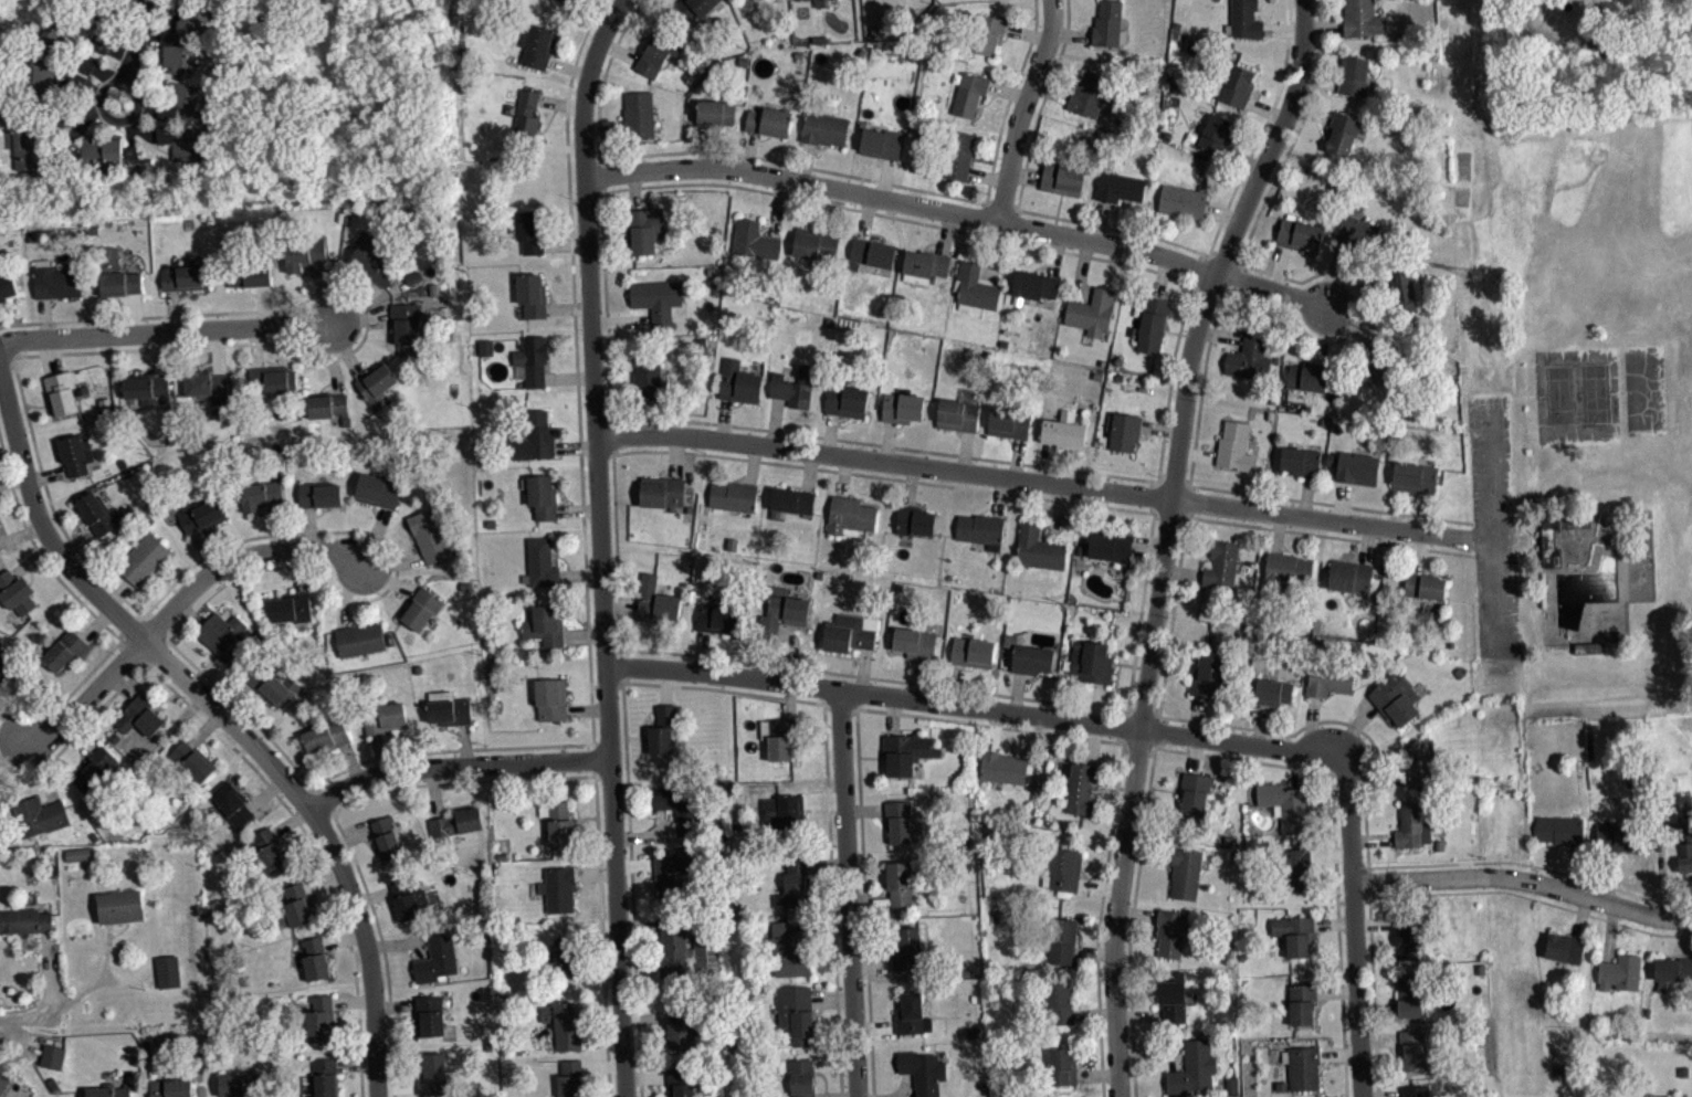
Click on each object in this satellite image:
building: (875, 0)
building: (760, 1)
building: (822, 1)
building: (568, 2)
building: (692, 9)
building: (1362, 19)
building: (1243, 20)
building: (1108, 24)
building: (196, 27)
building: (989, 33)
building: (537, 45)
road: (132, 49)
building: (658, 51)
building: (180, 62)
building: (49, 76)
building: (1354, 76)
building: (1234, 85)
building: (1095, 93)
building: (968, 94)
building: (186, 101)
road: (1022, 110)
building: (638, 114)
building: (715, 114)
building: (526, 117)
building: (768, 122)
building: (823, 128)
building: (1342, 133)
building: (1216, 134)
building: (881, 143)
building: (188, 144)
building: (958, 154)
building: (102, 157)
building: (1062, 178)
building: (1120, 187)
building: (1183, 201)
road: (959, 214)
building: (644, 228)
building: (1357, 231)
building: (528, 232)
building: (1299, 234)
building: (754, 240)
building: (815, 245)
building: (303, 253)
building: (870, 253)
building: (925, 263)
building: (375, 264)
building: (116, 274)
building: (187, 275)
building: (249, 275)
power tower: (1475, 277)
building: (55, 281)
building: (7, 284)
building: (1034, 285)
building: (974, 287)
building: (1405, 291)
building: (533, 294)
building: (656, 302)
building: (1091, 312)
building: (403, 321)
building: (1152, 325)
road: (165, 329)
building: (488, 354)
building: (1248, 357)
building: (533, 359)
building: (1379, 365)
building: (1307, 376)
building: (647, 377)
building: (274, 379)
building: (738, 382)
building: (207, 386)
building: (377, 386)
building: (146, 387)
building: (794, 387)
park: (1595, 391)
building: (61, 392)
park: (1558, 393)
building: (845, 400)
building: (327, 405)
building: (902, 408)
building: (957, 414)
building: (1009, 421)
building: (1064, 431)
building: (1123, 431)
building: (534, 436)
building: (1233, 446)
building: (77, 454)
building: (1300, 461)
building: (1354, 467)
building: (1415, 477)
road: (1043, 482)
building: (378, 491)
building: (661, 492)
building: (260, 493)
building: (319, 494)
building: (733, 495)
building: (542, 496)
building: (791, 500)
building: (101, 514)
building: (200, 515)
building: (850, 516)
road: (1493, 520)
building: (914, 521)
parking lot: (1494, 523)
building: (980, 529)
building: (430, 534)
road: (1165, 538)
building: (1549, 541)
road: (599, 544)
building: (1110, 546)
building: (1038, 548)
building: (0, 557)
building: (143, 559)
building: (542, 560)
building: (1221, 562)
building: (1283, 572)
building: (1349, 576)
building: (1425, 586)
building: (15, 592)
building: (656, 600)
building: (291, 604)
road: (170, 605)
building: (421, 606)
building: (782, 610)
building: (716, 619)
building: (544, 623)
building: (851, 632)
building: (224, 634)
building: (359, 637)
building: (914, 643)
building: (1588, 647)
building: (64, 648)
building: (973, 652)
building: (1031, 660)
building: (1091, 662)
building: (6, 665)
building: (1208, 676)
building: (1327, 678)
building: (273, 682)
building: (1273, 690)
building: (549, 697)
building: (1395, 697)
building: (448, 707)
road: (977, 707)
building: (139, 715)
building: (383, 716)
road: (225, 724)
building: (662, 726)
building: (326, 734)
building: (778, 735)
building: (905, 750)
building: (191, 759)
building: (1420, 761)
road: (453, 762)
building: (94, 767)
building: (1002, 767)
building: (1080, 785)
power tower: (1502, 787)
building: (1194, 790)
building: (0, 794)
building: (233, 803)
building: (1286, 804)
building: (677, 805)
building: (0, 806)
building: (784, 811)
building: (39, 814)
building: (898, 820)
building: (456, 821)
building: (558, 822)
building: (1411, 824)
building: (1560, 827)
building: (1618, 834)
building: (387, 838)
building: (1685, 841)
building: (266, 851)
building: (80, 852)
building: (81, 861)
building: (1293, 866)
building: (1063, 868)
building: (1185, 872)
building: (672, 873)
road: (1524, 879)
building: (900, 882)
building: (794, 883)
building: (558, 887)
road: (845, 893)
building: (408, 897)
building: (120, 904)
building: (295, 905)
building: (24, 918)
road: (1355, 929)
building: (1171, 931)
building: (1294, 932)
building: (1409, 935)
building: (1063, 939)
building: (905, 946)
building: (1564, 946)
building: (686, 949)
building: (787, 949)
building: (561, 954)
building: (315, 957)
building: (437, 957)
building: (1672, 967)
building: (167, 969)
building: (1619, 971)
building: (1173, 993)
building: (1409, 993)
building: (1060, 1001)
building: (1301, 1001)
building: (431, 1012)
building: (795, 1012)
building: (911, 1012)
road: (25, 1015)
building: (320, 1015)
building: (563, 1023)
building: (681, 1025)
building: (146, 1043)
building: (1413, 1047)
building: (52, 1055)
building: (137, 1059)
building: (1061, 1065)
building: (1192, 1066)
building: (1302, 1066)
building: (1683, 1069)
building: (923, 1070)
building: (432, 1072)
building: (325, 1076)
building: (802, 1076)
building: (570, 1078)
building: (3, 1082)
building: (52, 1082)
building: (681, 1082)
building: (239, 1083)
building: (170, 1087)
building: (108, 1090)
building: (1415, 1090)

